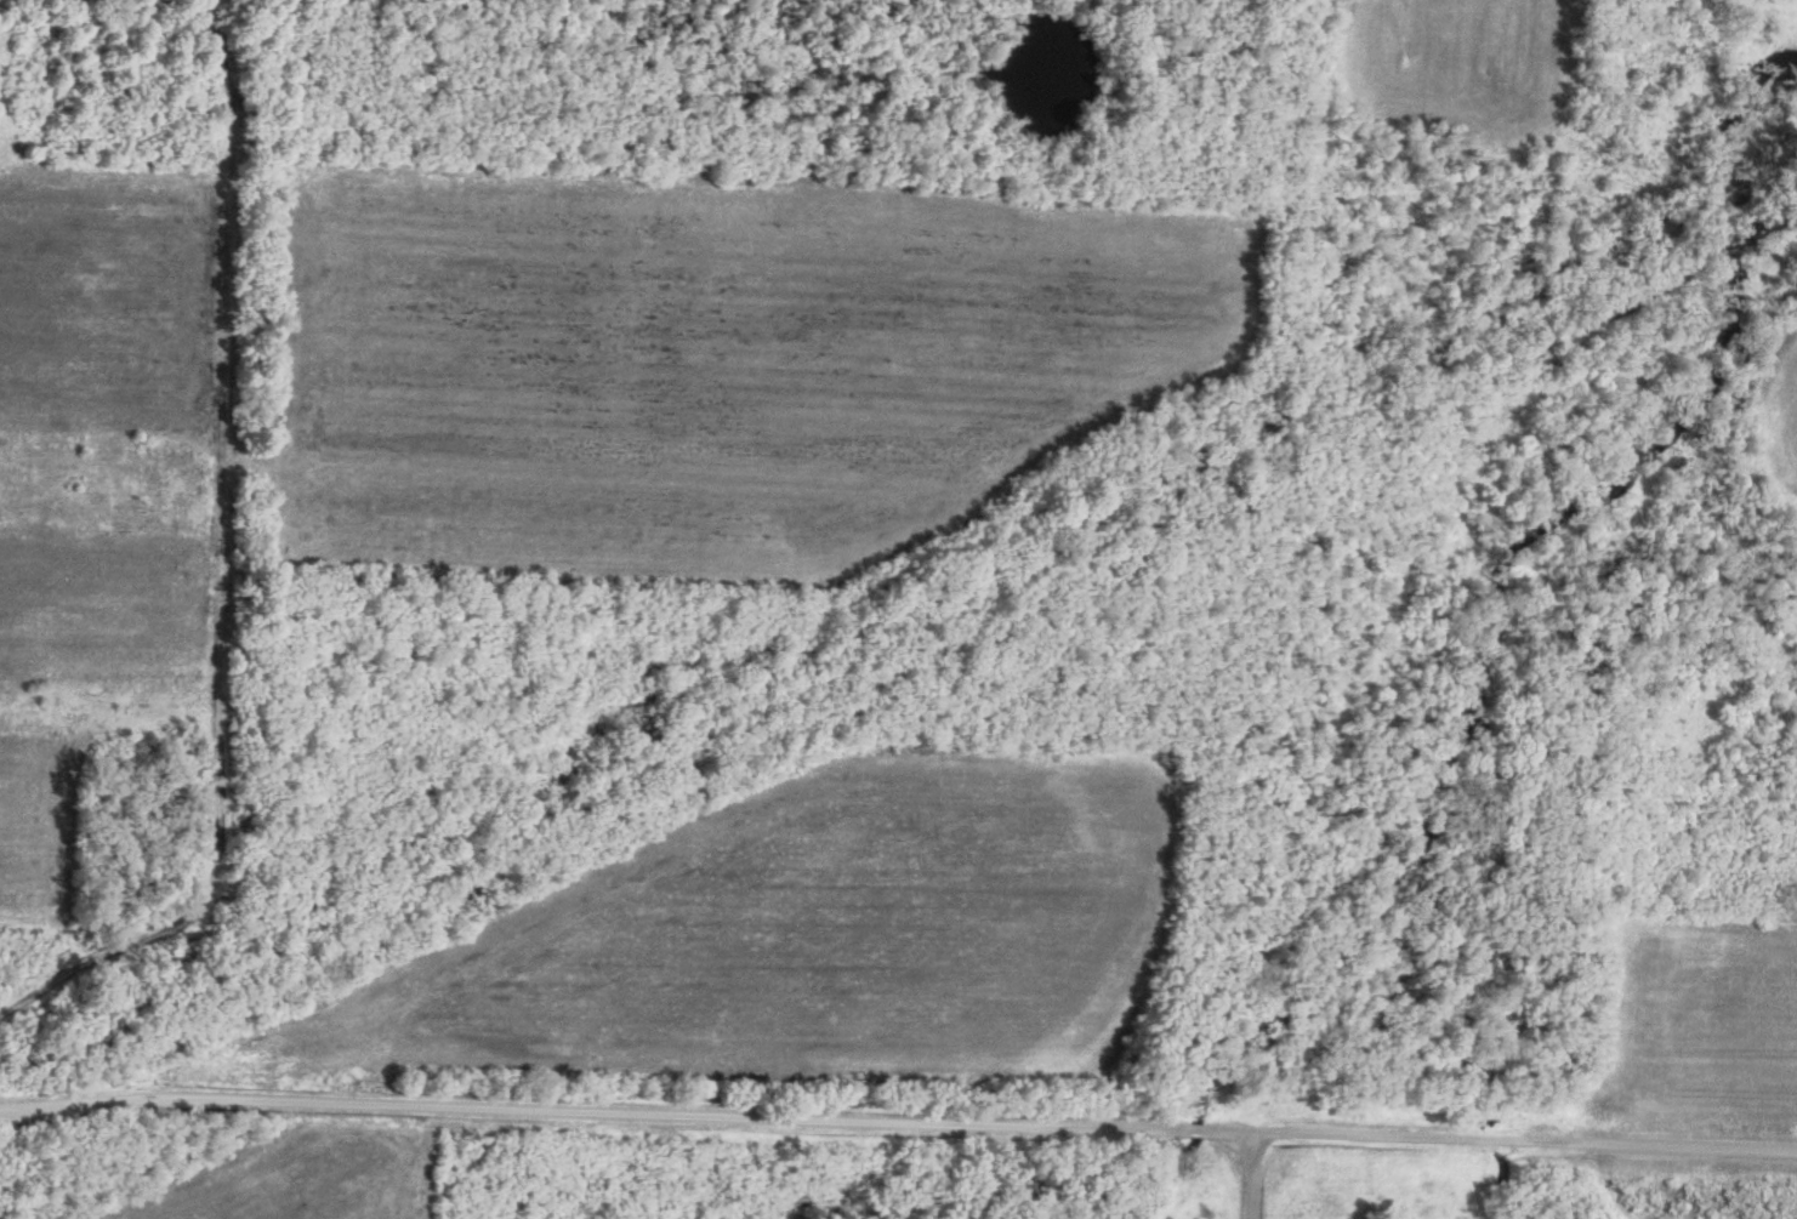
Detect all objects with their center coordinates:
road: (898, 1117)
road: (1252, 1174)

